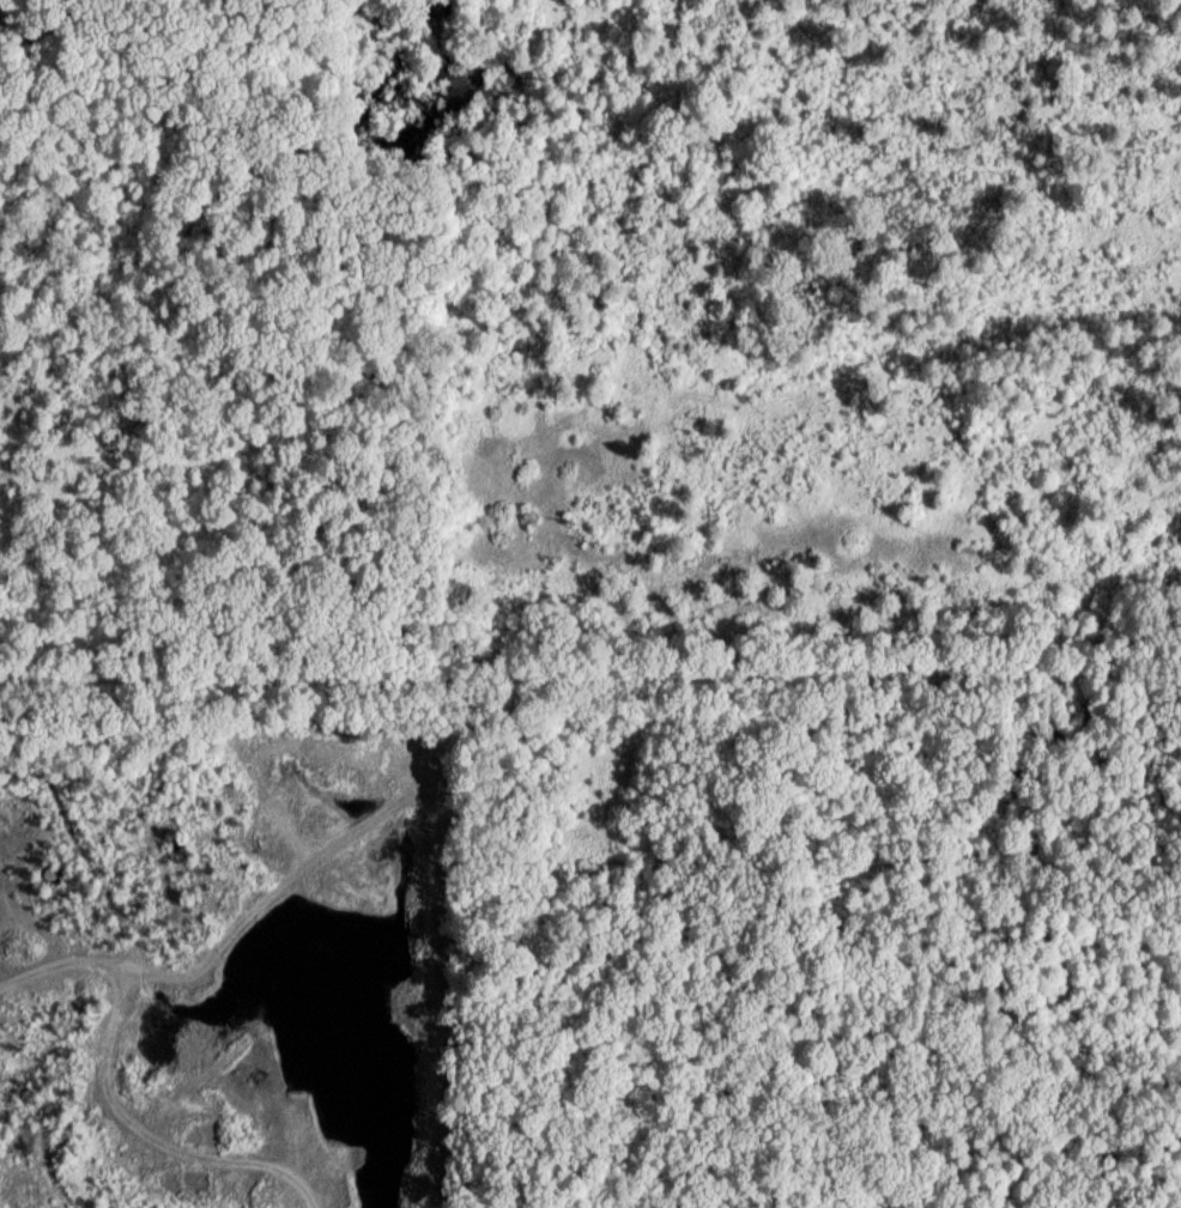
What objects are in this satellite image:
road: (590, 686)

